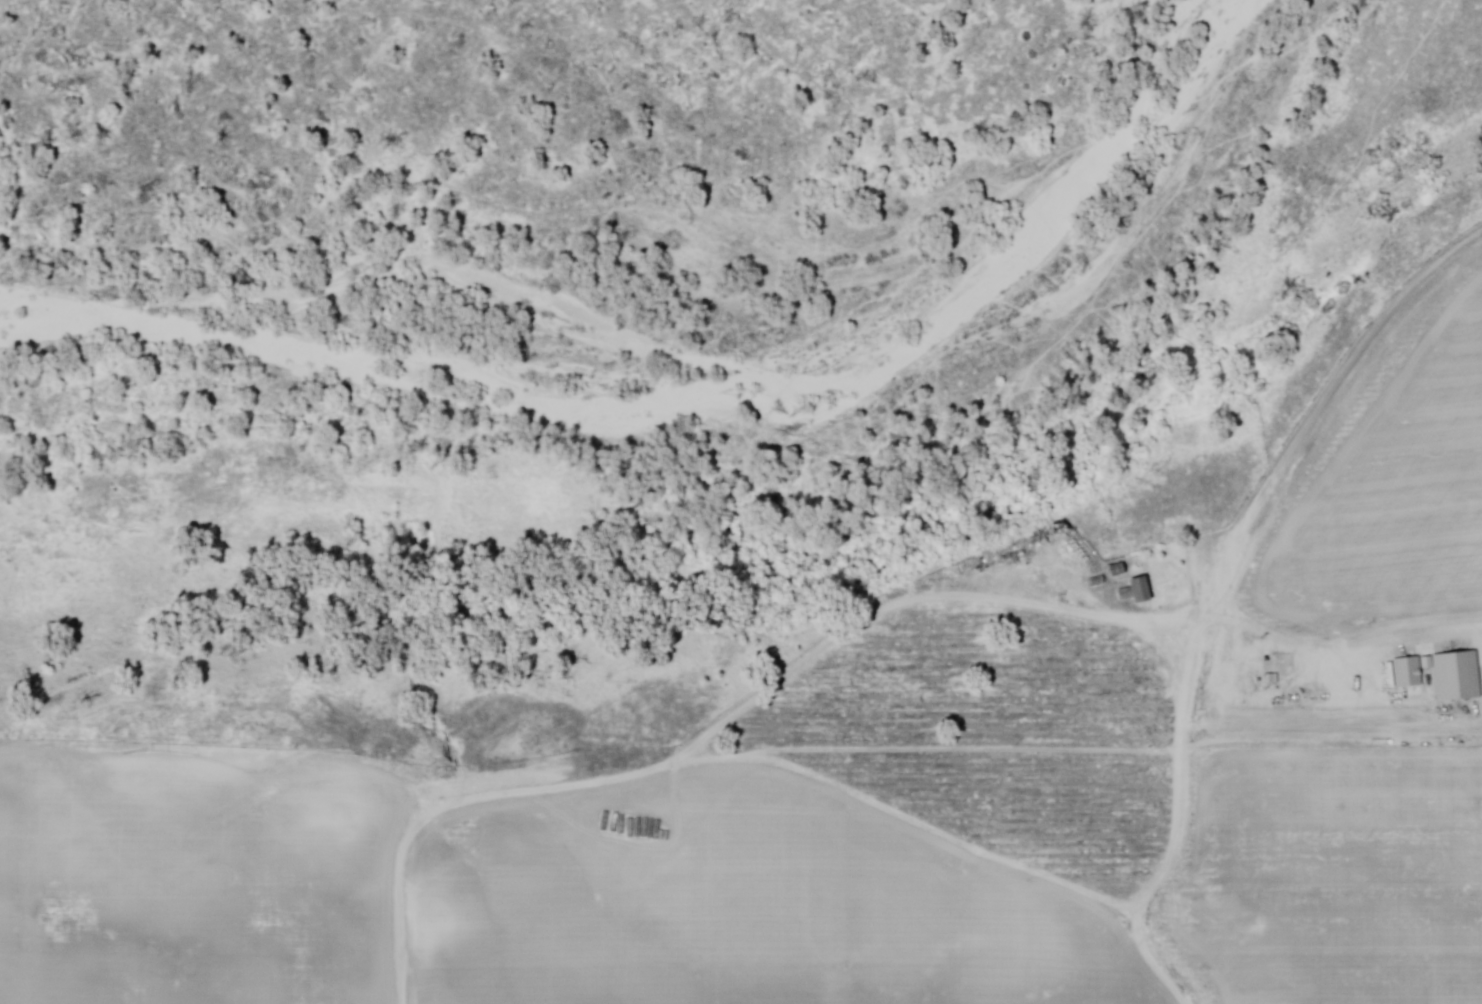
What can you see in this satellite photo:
river: (1223, 34)
river: (657, 358)
road: (1254, 515)
building: (1117, 572)
building: (1136, 594)
road: (1204, 647)
building: (1427, 665)
building: (1408, 674)
building: (1458, 679)
road: (1183, 738)

